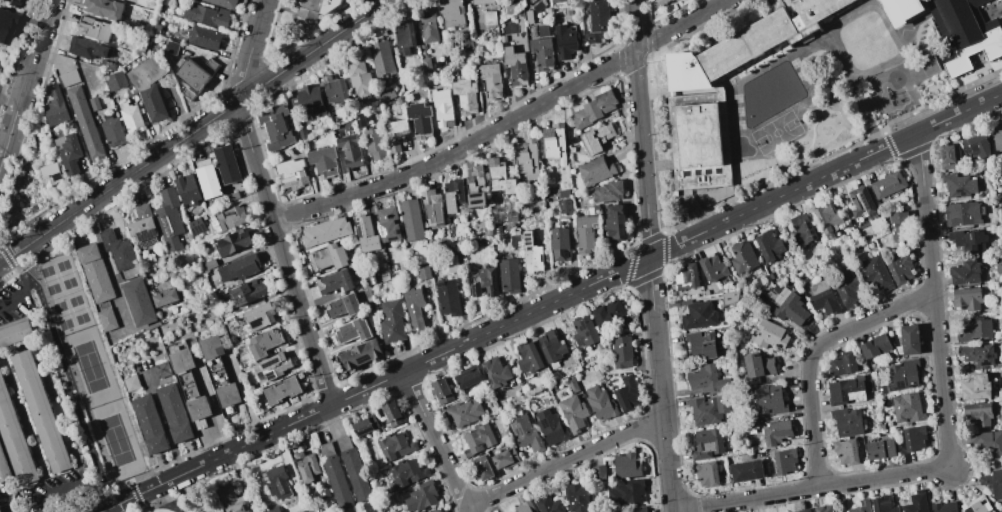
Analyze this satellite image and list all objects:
building: (559, 1)
building: (661, 1)
building: (482, 2)
building: (11, 3)
building: (222, 3)
building: (513, 6)
building: (538, 6)
building: (313, 7)
building: (103, 8)
building: (901, 11)
building: (451, 13)
building: (207, 14)
building: (528, 16)
building: (489, 18)
building: (598, 21)
building: (428, 24)
building: (4, 25)
building: (94, 29)
building: (156, 29)
building: (542, 31)
building: (964, 32)
building: (404, 37)
building: (204, 38)
building: (502, 38)
building: (565, 41)
building: (465, 44)
building: (171, 47)
building: (87, 48)
building: (542, 53)
road: (32, 59)
building: (381, 60)
building: (212, 64)
building: (436, 64)
building: (426, 65)
building: (515, 67)
building: (192, 75)
building: (68, 77)
building: (359, 78)
building: (490, 79)
building: (115, 80)
building: (149, 87)
building: (334, 90)
building: (724, 92)
building: (187, 93)
building: (386, 93)
building: (465, 96)
building: (398, 99)
building: (306, 100)
building: (94, 103)
road: (6, 107)
building: (55, 107)
building: (442, 107)
building: (593, 109)
road: (960, 112)
building: (131, 118)
building: (360, 120)
building: (419, 120)
building: (85, 122)
road: (506, 124)
building: (275, 128)
road: (196, 129)
building: (112, 132)
building: (301, 133)
building: (395, 134)
building: (997, 137)
building: (598, 139)
road: (7, 143)
building: (555, 143)
building: (374, 144)
building: (977, 146)
building: (349, 151)
building: (68, 152)
building: (947, 156)
building: (527, 158)
building: (323, 162)
building: (225, 164)
building: (595, 171)
rooftop solar panel: (707, 171)
rooftop solar panel: (688, 172)
rooftop solar panel: (699, 172)
building: (50, 174)
building: (291, 174)
building: (499, 177)
building: (208, 181)
building: (888, 184)
building: (958, 185)
building: (476, 188)
building: (187, 190)
building: (609, 191)
building: (564, 192)
building: (454, 195)
rooftop solar panel: (476, 195)
rooftop solar panel: (866, 200)
rooftop solar panel: (477, 201)
building: (861, 202)
road: (268, 203)
building: (565, 207)
building: (432, 208)
building: (962, 214)
building: (827, 218)
building: (169, 219)
building: (227, 219)
building: (412, 220)
building: (615, 222)
building: (389, 224)
rooftop solar panel: (217, 225)
building: (143, 226)
building: (195, 226)
rooftop solar panel: (811, 226)
building: (898, 226)
rooftop solar panel: (361, 227)
building: (803, 228)
building: (326, 231)
rooftop solar panel: (198, 232)
rooftop solar panel: (811, 232)
rooftop solar panel: (531, 233)
building: (587, 233)
building: (366, 234)
rooftop solar panel: (809, 234)
rooftop solar panel: (146, 237)
rooftop solar panel: (529, 238)
building: (515, 240)
building: (967, 240)
building: (233, 242)
rooftop solar panel: (811, 242)
rooftop solar panel: (528, 243)
building: (561, 244)
building: (769, 246)
building: (120, 254)
building: (533, 255)
road: (649, 256)
building: (329, 258)
building: (743, 258)
road: (3, 260)
building: (452, 263)
building: (208, 264)
road: (13, 265)
building: (240, 268)
building: (713, 268)
building: (900, 270)
building: (876, 272)
building: (425, 273)
building: (964, 273)
park: (65, 274)
building: (509, 275)
building: (687, 276)
road: (28, 280)
park: (48, 280)
building: (335, 282)
building: (486, 282)
road: (24, 283)
building: (97, 283)
building: (846, 286)
building: (249, 292)
rooftop solar panel: (475, 293)
building: (821, 297)
building: (165, 298)
building: (449, 298)
building: (730, 298)
building: (966, 298)
road: (14, 300)
parking lot: (14, 301)
building: (138, 302)
building: (343, 306)
building: (416, 307)
park: (77, 309)
building: (790, 309)
building: (609, 312)
park: (61, 315)
building: (699, 315)
building: (260, 316)
rooftop solar panel: (256, 321)
road: (508, 321)
building: (392, 322)
building: (974, 330)
building: (352, 331)
building: (584, 331)
building: (15, 332)
building: (769, 335)
building: (908, 341)
building: (264, 342)
building: (703, 345)
building: (874, 346)
building: (552, 347)
building: (622, 352)
building: (360, 354)
road: (814, 354)
building: (977, 355)
building: (528, 358)
rooftop solar panel: (364, 360)
rooftop solar panel: (270, 363)
building: (842, 364)
building: (273, 365)
park: (88, 367)
park: (89, 367)
building: (757, 368)
building: (159, 371)
building: (495, 372)
building: (219, 374)
rooftop solar panel: (272, 375)
building: (903, 376)
building: (468, 377)
building: (707, 380)
building: (130, 385)
building: (572, 385)
rooftop solar panel: (899, 386)
rooftop solar panel: (912, 386)
building: (189, 388)
building: (974, 388)
building: (282, 390)
building: (847, 390)
building: (441, 391)
building: (627, 394)
building: (770, 400)
building: (600, 403)
building: (907, 409)
building: (708, 410)
building: (42, 412)
building: (462, 412)
building: (174, 413)
building: (392, 413)
building: (573, 413)
building: (977, 413)
building: (847, 422)
building: (149, 424)
building: (364, 425)
building: (551, 427)
road: (87, 430)
rooftop solar panel: (519, 431)
building: (776, 432)
building: (525, 433)
road: (948, 437)
building: (913, 438)
building: (15, 439)
building: (477, 439)
park: (115, 440)
road: (435, 441)
building: (988, 441)
building: (707, 444)
building: (394, 446)
building: (880, 449)
building: (845, 451)
building: (505, 458)
road: (565, 461)
building: (784, 461)
building: (626, 465)
road: (977, 465)
building: (306, 466)
building: (481, 467)
building: (4, 469)
building: (353, 470)
building: (745, 471)
building: (406, 472)
building: (599, 473)
building: (706, 474)
building: (334, 476)
building: (993, 482)
building: (277, 483)
road: (66, 488)
building: (324, 492)
building: (626, 492)
road: (95, 496)
building: (421, 497)
building: (576, 498)
building: (231, 501)
park: (188, 502)
building: (916, 502)
road: (45, 504)
building: (547, 504)
building: (881, 505)
building: (976, 505)
building: (860, 506)
road: (8, 507)
building: (524, 507)
building: (944, 507)
building: (823, 508)
building: (636, 509)
building: (273, 510)
building: (804, 510)
building: (434, 511)

